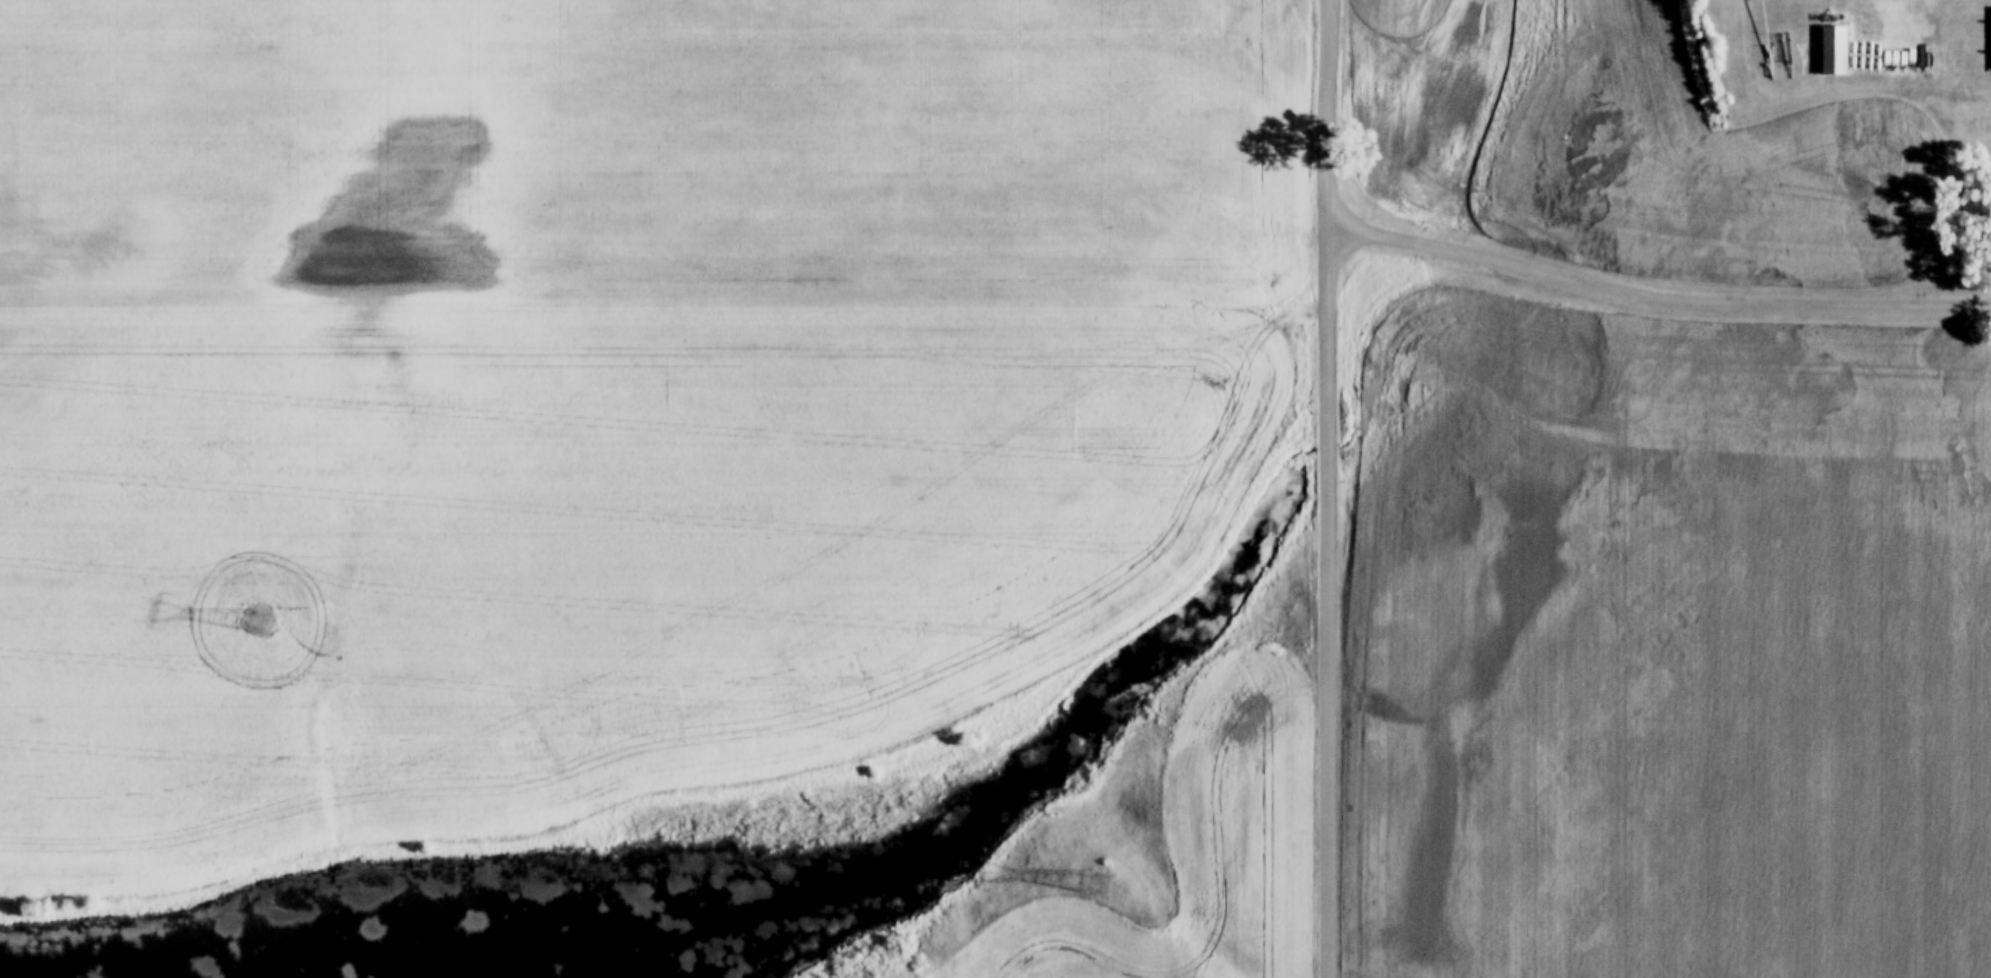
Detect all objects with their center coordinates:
building: (1834, 49)
road: (1653, 301)
road: (1327, 488)
power tower: (257, 623)
power tower: (1097, 883)

